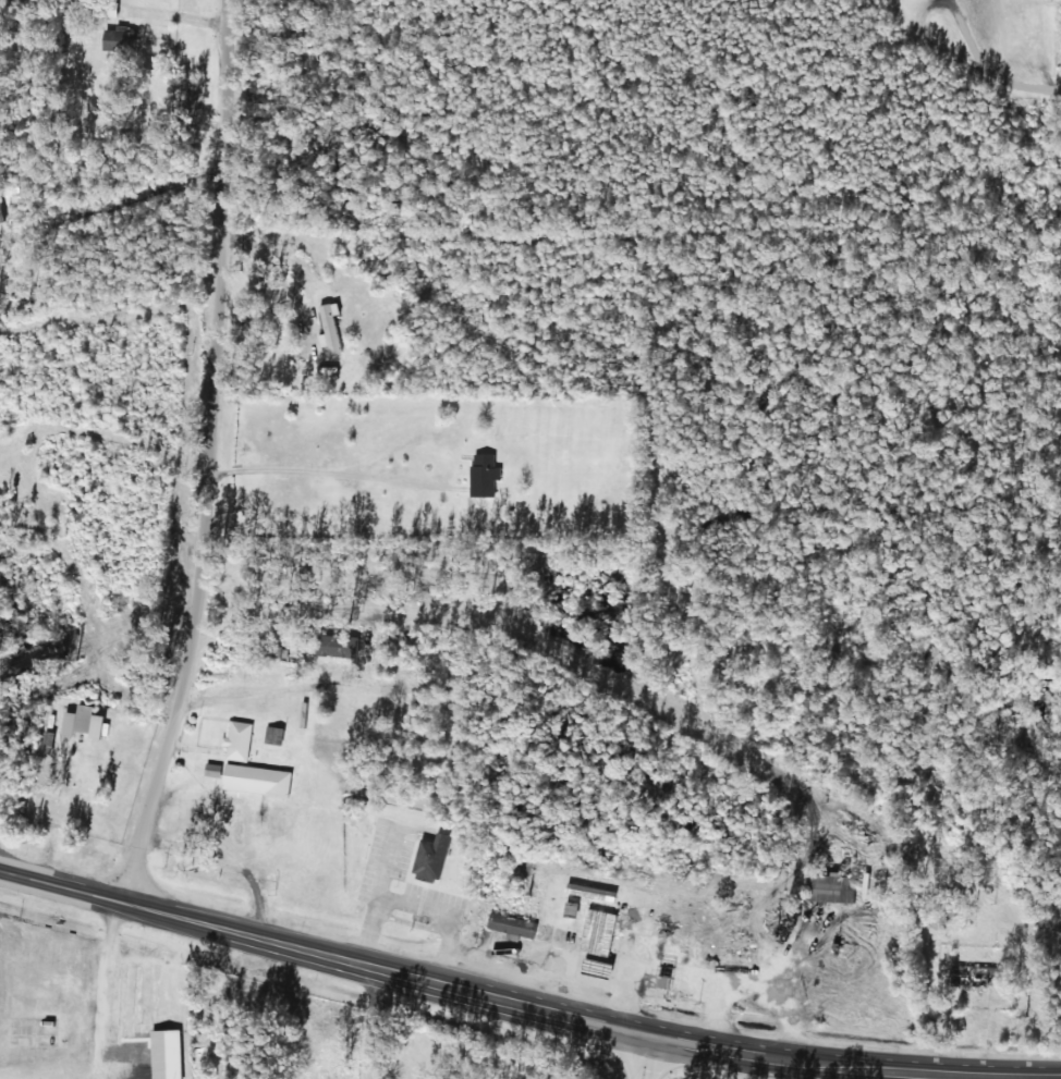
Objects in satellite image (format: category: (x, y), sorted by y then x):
building: (118, 39)
building: (0, 219)
building: (329, 328)
road: (206, 456)
building: (483, 476)
building: (82, 721)
building: (237, 740)
building: (212, 770)
building: (256, 780)
building: (430, 857)
building: (830, 887)
building: (1056, 917)
building: (511, 924)
building: (597, 931)
building: (1, 932)
building: (12, 941)
building: (25, 946)
building: (44, 990)
building: (64, 993)
road: (464, 994)
road: (369, 1026)
building: (22, 1050)
building: (166, 1054)
road: (644, 1059)
building: (142, 1072)

